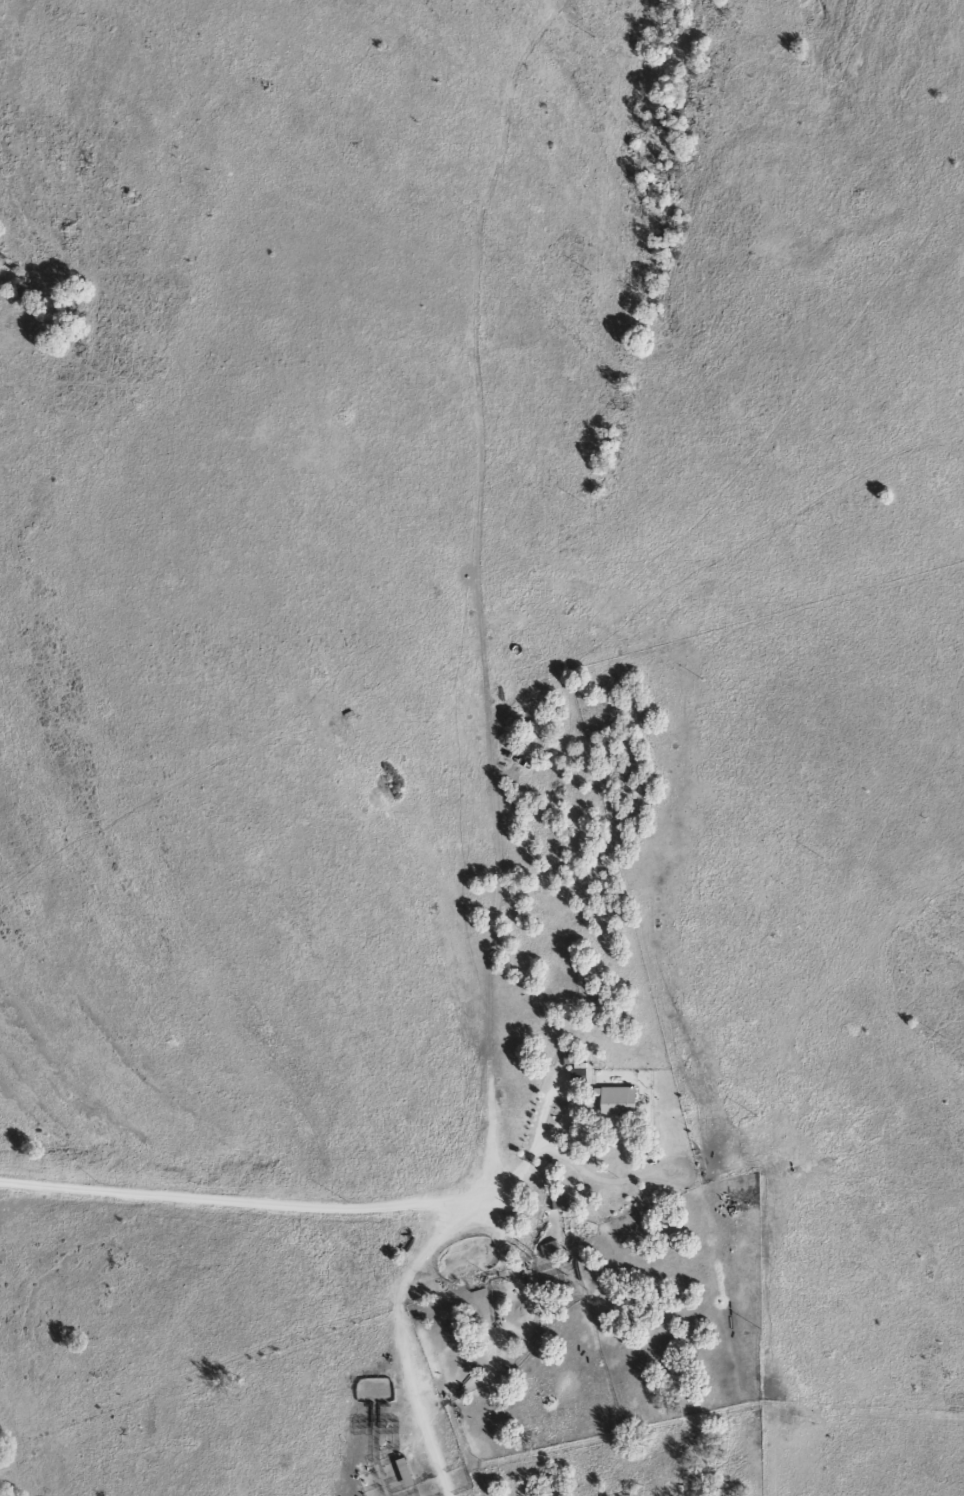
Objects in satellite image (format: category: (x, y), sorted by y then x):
building: (615, 1101)
road: (250, 1174)
building: (545, 1337)

